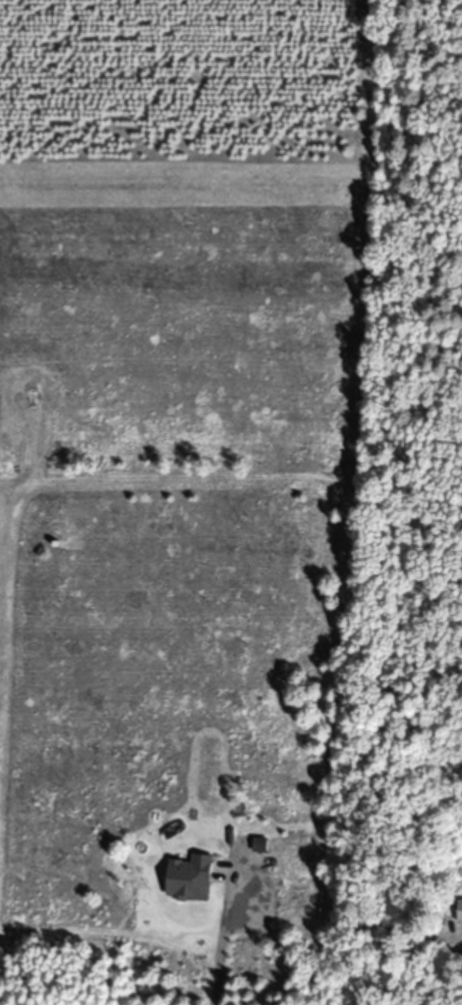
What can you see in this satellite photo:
building: (189, 835)
building: (261, 845)
building: (461, 912)
road: (223, 928)

